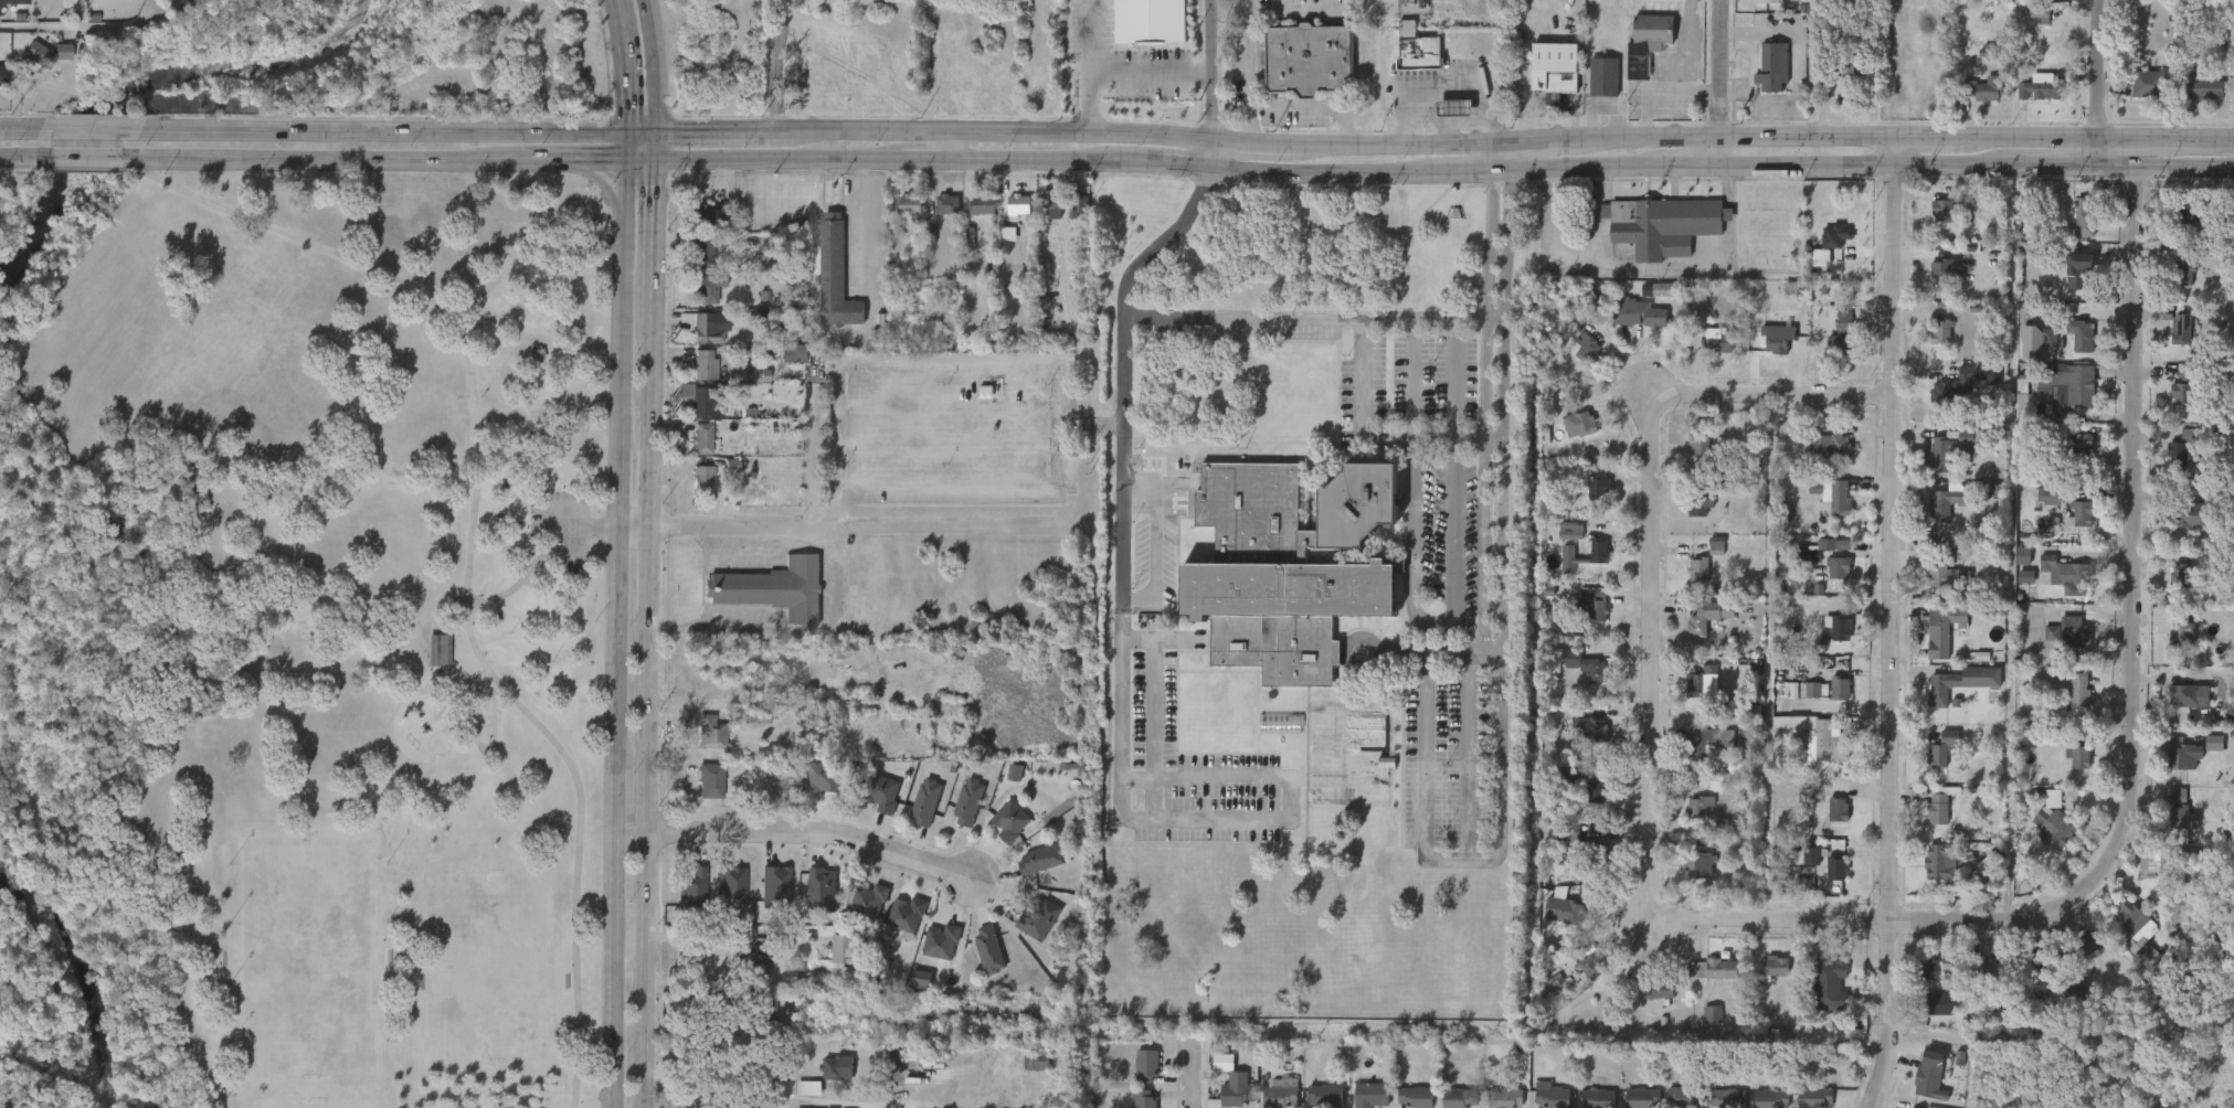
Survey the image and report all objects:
building: (14, 1)
building: (2150, 1)
building: (1768, 2)
building: (36, 3)
building: (91, 4)
road: (1222, 9)
building: (2040, 12)
building: (2029, 26)
road: (83, 28)
building: (1140, 29)
building: (1647, 43)
road: (1082, 47)
building: (1416, 51)
building: (38, 54)
building: (1311, 60)
road: (1677, 61)
building: (1549, 62)
road: (623, 65)
road: (656, 65)
road: (779, 65)
building: (1847, 66)
building: (35, 68)
building: (1772, 68)
road: (1707, 70)
road: (1799, 70)
road: (1246, 73)
building: (2, 76)
building: (1602, 77)
building: (1839, 83)
road: (1121, 84)
road: (2085, 84)
road: (1214, 85)
building: (2149, 85)
building: (2205, 86)
building: (1986, 88)
building: (2041, 88)
building: (1592, 90)
building: (2137, 98)
building: (2196, 103)
building: (1976, 104)
building: (2031, 104)
road: (1313, 107)
building: (1453, 109)
road: (1639, 109)
road: (30, 128)
road: (95, 129)
road: (379, 129)
traffic signals: (626, 132)
road: (642, 132)
traffic signals: (658, 132)
road: (1925, 138)
road: (2047, 138)
road: (2178, 138)
road: (2224, 139)
road: (1277, 145)
road: (658, 147)
road: (949, 147)
road: (29, 158)
road: (92, 159)
road: (319, 161)
road: (586, 161)
traffic signals: (626, 161)
road: (642, 161)
traffic signals: (658, 161)
road: (529, 162)
road: (1501, 162)
road: (10, 168)
road: (76, 169)
road: (1446, 170)
road: (625, 173)
road: (593, 177)
road: (1728, 188)
building: (945, 203)
building: (982, 203)
building: (1017, 203)
building: (1052, 204)
building: (909, 205)
building: (1942, 210)
building: (2189, 210)
building: (710, 213)
road: (1728, 213)
building: (936, 219)
building: (1008, 219)
building: (2082, 219)
building: (900, 220)
building: (973, 220)
building: (1040, 221)
building: (1068, 223)
building: (1663, 224)
road: (851, 225)
building: (1931, 225)
building: (2181, 225)
building: (694, 228)
building: (2072, 230)
road: (1160, 241)
building: (703, 252)
road: (1571, 264)
building: (692, 266)
road: (1673, 269)
building: (1950, 273)
building: (2184, 273)
building: (833, 274)
building: (2079, 276)
building: (1934, 285)
building: (708, 288)
building: (2175, 288)
building: (1667, 290)
building: (2068, 290)
building: (697, 302)
building: (1642, 313)
road: (1231, 318)
road: (1433, 319)
building: (702, 327)
building: (1630, 328)
building: (2182, 328)
building: (1942, 332)
building: (2078, 334)
building: (1777, 337)
building: (1717, 340)
building: (700, 341)
building: (1840, 342)
building: (2171, 342)
building: (1929, 345)
building: (1589, 348)
building: (2071, 349)
building: (1767, 352)
building: (1706, 353)
building: (1830, 356)
building: (1576, 362)
building: (701, 363)
building: (695, 379)
road: (1409, 380)
road: (1443, 380)
building: (2069, 381)
building: (1954, 384)
building: (2180, 387)
road: (1778, 393)
building: (1951, 396)
building: (698, 397)
building: (2056, 398)
building: (2171, 402)
building: (690, 413)
building: (1578, 424)
parking lot: (951, 428)
building: (700, 438)
building: (1568, 438)
building: (1698, 443)
building: (1952, 444)
building: (2082, 444)
building: (1833, 446)
building: (692, 451)
building: (1687, 456)
building: (2183, 456)
building: (2071, 459)
building: (1820, 460)
building: (1938, 462)
building: (700, 476)
building: (722, 479)
building: (1598, 482)
building: (692, 491)
building: (1587, 498)
building: (1843, 499)
building: (1954, 501)
building: (1703, 504)
building: (1822, 509)
building: (2191, 513)
building: (1937, 514)
building: (2083, 514)
road: (2140, 515)
building: (1687, 521)
road: (593, 529)
building: (2068, 529)
road: (797, 530)
building: (2179, 530)
building: (1573, 531)
parking lot: (564, 534)
building: (1559, 544)
building: (1601, 553)
road: (470, 555)
building: (1705, 560)
building: (1810, 562)
building: (1589, 565)
building: (1284, 566)
building: (1839, 567)
building: (1698, 569)
building: (1944, 571)
building: (2065, 571)
road: (523, 573)
building: (2179, 575)
building: (1827, 582)
building: (1687, 583)
building: (773, 587)
building: (2169, 588)
building: (2055, 589)
building: (1933, 592)
building: (1596, 601)
building: (1707, 616)
road: (1433, 620)
building: (1582, 622)
road: (1892, 624)
building: (1840, 629)
building: (2066, 630)
building: (2179, 630)
building: (1697, 631)
building: (1939, 632)
road: (650, 633)
park: (301, 639)
park: (300, 642)
road: (1651, 642)
building: (1829, 642)
building: (1931, 644)
building: (2169, 644)
road: (1490, 646)
building: (2063, 646)
building: (2041, 647)
building: (440, 649)
road: (1767, 656)
road: (620, 661)
building: (428, 663)
building: (1589, 664)
building: (1576, 680)
building: (1703, 680)
building: (1840, 689)
building: (1945, 689)
building: (2076, 689)
building: (2183, 694)
building: (1694, 696)
building: (1950, 696)
building: (1829, 702)
building: (1799, 703)
building: (2068, 703)
building: (1782, 704)
building: (2178, 710)
park: (486, 721)
building: (1587, 726)
building: (709, 732)
building: (1813, 736)
building: (1708, 739)
building: (701, 746)
building: (1942, 749)
building: (1799, 750)
building: (1694, 754)
building: (2077, 755)
building: (2182, 755)
building: (2202, 756)
building: (2069, 771)
building: (818, 779)
building: (709, 781)
building: (1004, 786)
building: (1596, 792)
building: (880, 793)
building: (701, 795)
building: (809, 796)
building: (924, 802)
building: (966, 802)
building: (1586, 806)
building: (872, 807)
building: (1698, 808)
building: (1940, 808)
building: (1838, 810)
building: (2182, 819)
building: (1008, 821)
road: (1206, 821)
building: (1687, 821)
building: (1828, 823)
building: (1926, 823)
building: (2055, 831)
building: (2171, 832)
road: (814, 833)
building: (1000, 834)
building: (2043, 842)
road: (1425, 857)
building: (1040, 860)
building: (1946, 860)
building: (1703, 864)
building: (1835, 869)
building: (1800, 871)
building: (1029, 873)
building: (1928, 875)
building: (2143, 876)
building: (1685, 882)
building: (1825, 882)
building: (765, 899)
building: (721, 901)
building: (682, 903)
building: (811, 903)
building: (1567, 910)
building: (908, 914)
building: (859, 915)
building: (2127, 915)
road: (1865, 918)
building: (1550, 923)
road: (738, 930)
building: (894, 930)
building: (1028, 933)
building: (2122, 937)
building: (943, 941)
road: (632, 945)
building: (2088, 945)
building: (991, 949)
building: (840, 950)
park: (308, 951)
building: (752, 955)
building: (931, 956)
building: (2081, 956)
park: (486, 961)
building: (832, 962)
building: (978, 962)
building: (2042, 962)
building: (1775, 967)
building: (1719, 968)
building: (1938, 969)
building: (742, 971)
building: (1993, 973)
building: (1579, 980)
building: (1762, 980)
building: (1706, 982)
building: (1834, 983)
building: (1661, 988)
building: (1818, 998)
building: (1650, 1003)
building: (1939, 1003)
building: (758, 1014)
building: (1700, 1026)
building: (1035, 1062)
building: (888, 1066)
building: (1147, 1066)
building: (838, 1067)
building: (1026, 1075)
road: (1195, 1076)
road: (716, 1077)
building: (1135, 1078)
building: (1933, 1080)
building: (1917, 1093)
building: (1280, 1094)
building: (1369, 1094)
building: (1508, 1095)
building: (1236, 1096)
building: (1324, 1096)
building: (1415, 1096)
building: (1684, 1096)
building: (1813, 1096)
building: (1458, 1097)
building: (1552, 1097)
building: (1597, 1097)
building: (1641, 1097)
building: (1144, 1098)
building: (1727, 1098)
building: (1770, 1098)
park: (324, 1104)

